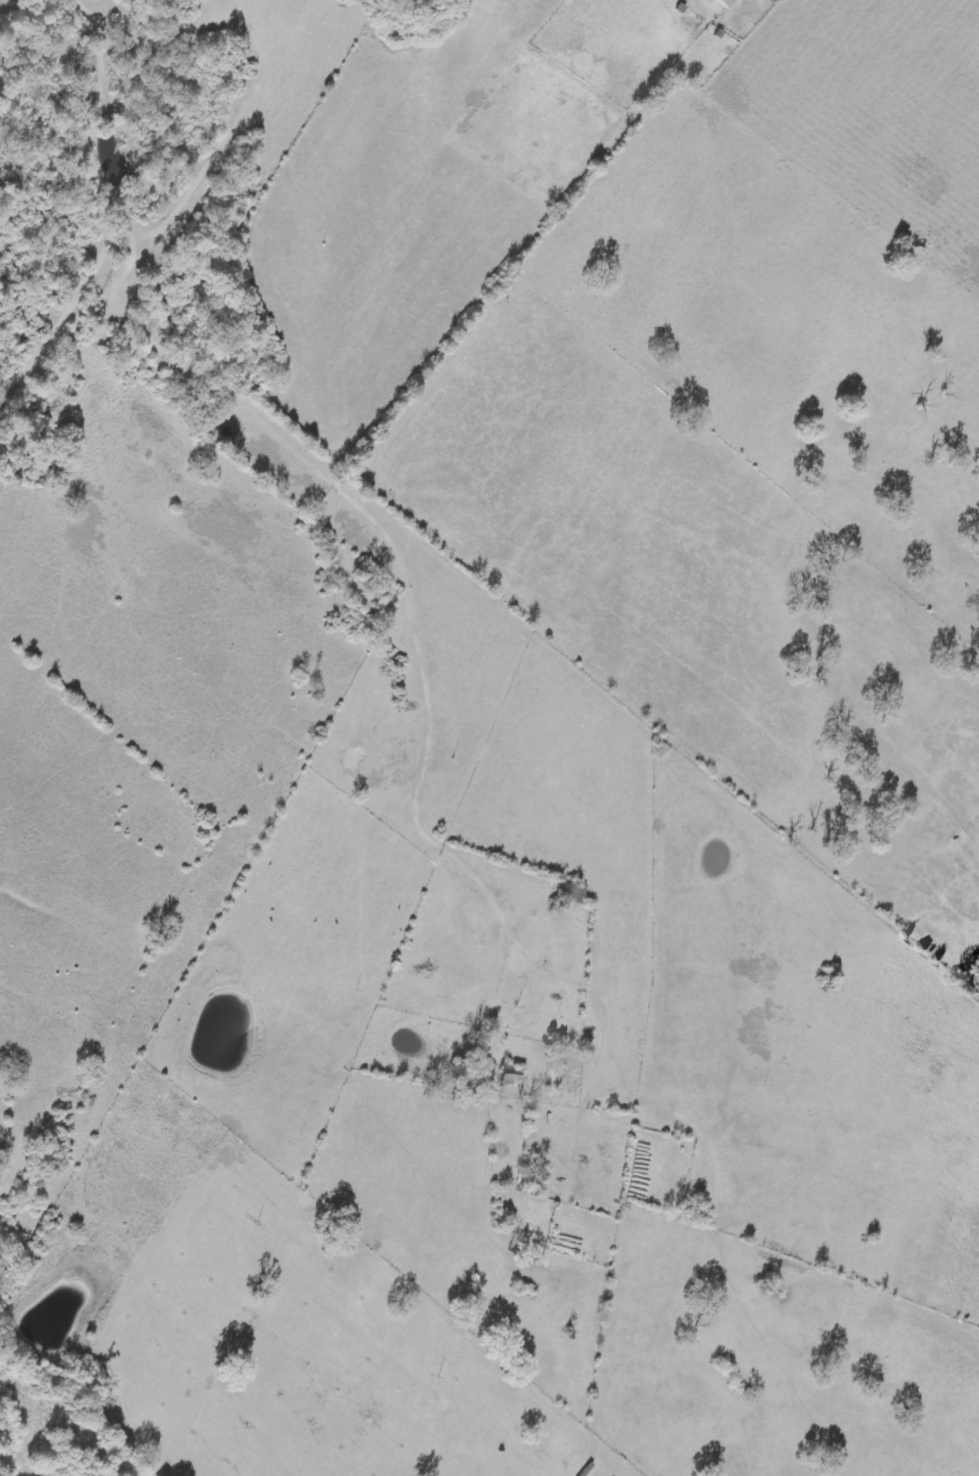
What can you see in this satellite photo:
building: (723, 3)

